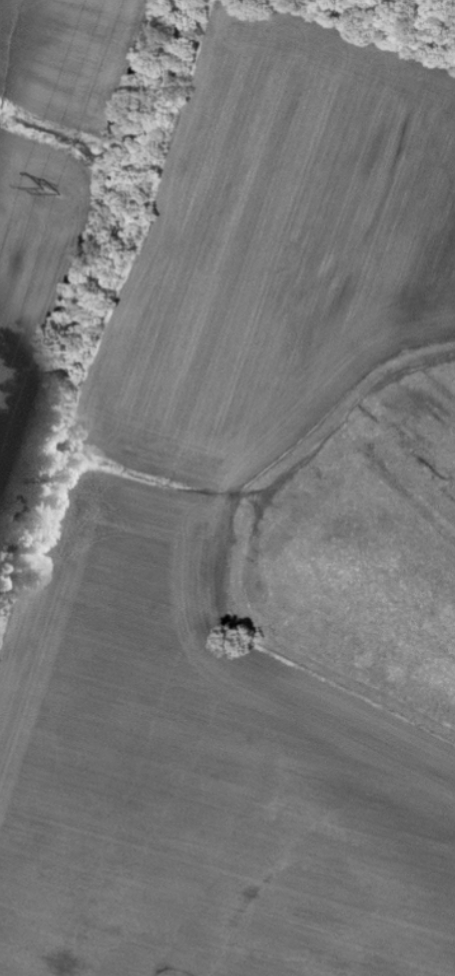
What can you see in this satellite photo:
power tower: (53, 186)

